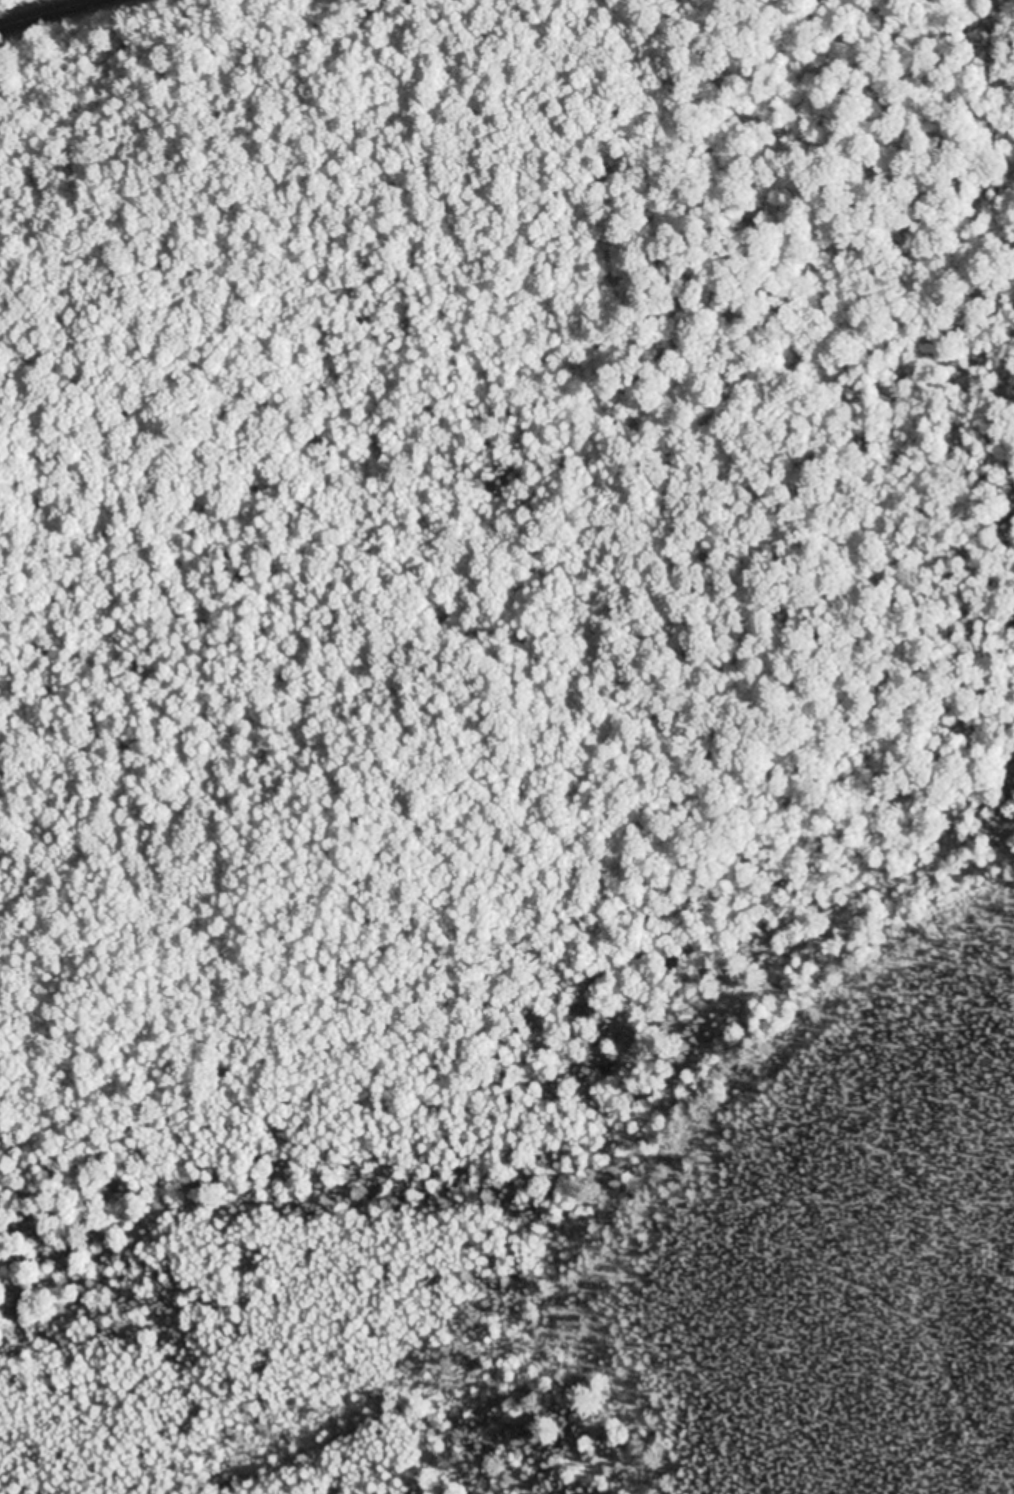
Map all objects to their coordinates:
road: (36, 11)

